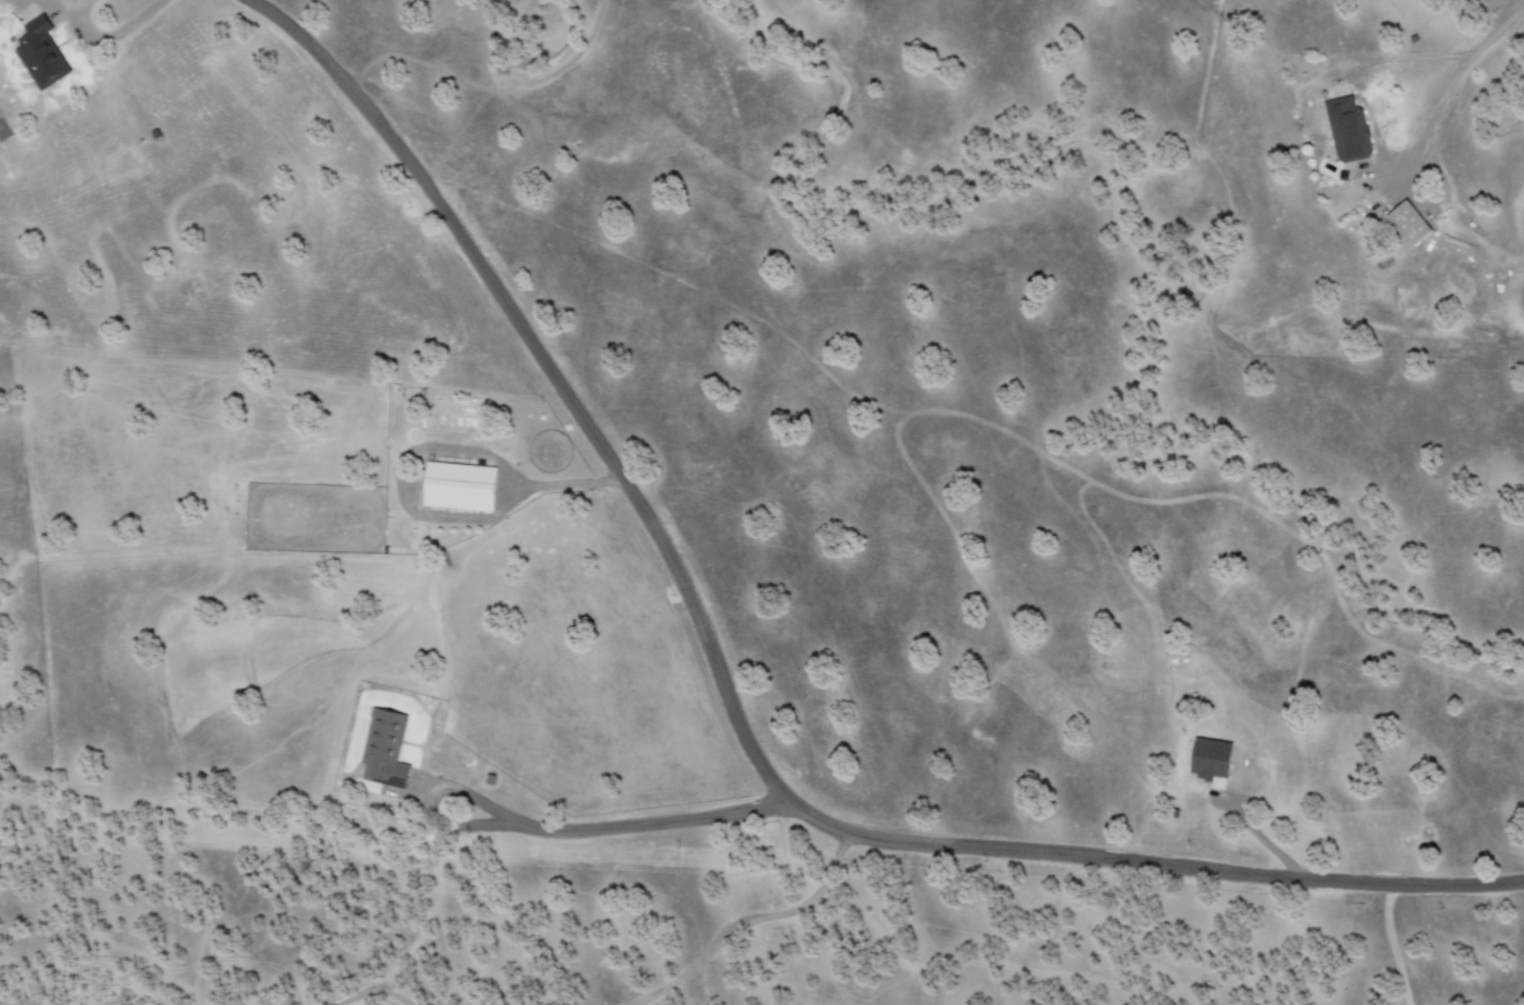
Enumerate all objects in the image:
road: (112, 34)
building: (40, 53)
road: (1446, 82)
building: (1348, 128)
building: (1409, 222)
building: (460, 486)
road: (735, 701)
building: (384, 749)
building: (1211, 758)
road: (618, 824)

